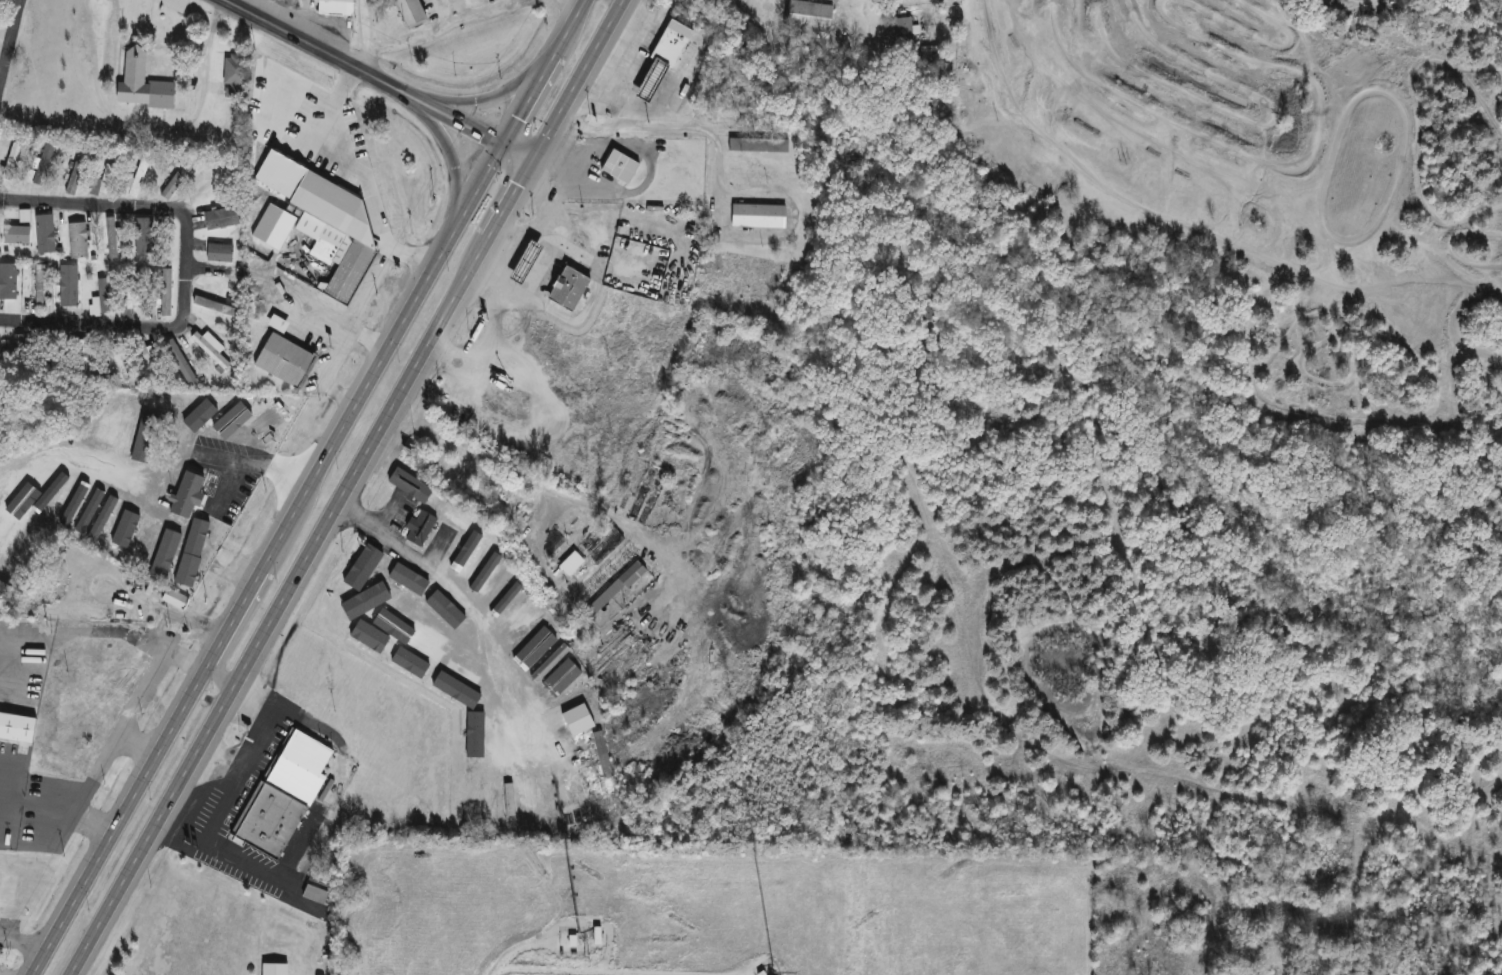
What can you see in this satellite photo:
road: (844, 4)
building: (333, 7)
building: (409, 13)
building: (807, 15)
road: (649, 18)
road: (8, 28)
building: (901, 32)
road: (372, 36)
building: (668, 44)
building: (232, 76)
road: (383, 79)
road: (579, 79)
road: (617, 81)
building: (140, 84)
building: (649, 84)
gas station: (649, 84)
road: (485, 97)
road: (664, 124)
road: (154, 127)
road: (884, 139)
building: (757, 145)
traffic signals: (509, 148)
road: (449, 156)
traffic signals: (534, 159)
building: (10, 162)
building: (42, 165)
building: (618, 167)
road: (352, 170)
building: (74, 174)
building: (137, 178)
building: (212, 181)
building: (101, 182)
building: (174, 183)
building: (756, 215)
building: (219, 219)
building: (44, 234)
building: (15, 235)
building: (142, 236)
building: (110, 238)
building: (76, 241)
building: (530, 252)
building: (218, 253)
building: (331, 261)
building: (523, 264)
gas station: (523, 264)
road: (183, 268)
road: (202, 268)
building: (7, 282)
building: (36, 286)
building: (67, 286)
road: (371, 286)
building: (565, 288)
building: (164, 293)
building: (131, 295)
building: (99, 300)
building: (213, 306)
road: (323, 312)
building: (276, 323)
building: (21, 348)
building: (209, 349)
building: (77, 357)
building: (144, 359)
building: (282, 359)
building: (178, 361)
building: (117, 364)
road: (323, 374)
road: (267, 462)
road: (523, 474)
building: (412, 481)
road: (308, 486)
building: (123, 523)
building: (416, 529)
building: (10, 552)
building: (465, 561)
building: (572, 566)
road: (300, 567)
building: (359, 572)
building: (485, 575)
building: (379, 584)
building: (605, 589)
building: (173, 598)
building: (501, 600)
building: (415, 604)
road: (451, 605)
building: (335, 610)
building: (516, 620)
building: (363, 625)
road: (82, 630)
building: (391, 634)
building: (422, 636)
building: (532, 646)
building: (459, 657)
building: (101, 662)
building: (421, 664)
building: (543, 666)
road: (221, 672)
building: (450, 689)
building: (46, 732)
road: (117, 732)
building: (472, 732)
road: (135, 746)
building: (601, 754)
building: (297, 768)
building: (498, 777)
building: (518, 784)
building: (539, 791)
road: (35, 802)
building: (267, 822)
building: (313, 894)
road: (23, 940)
building: (272, 968)

